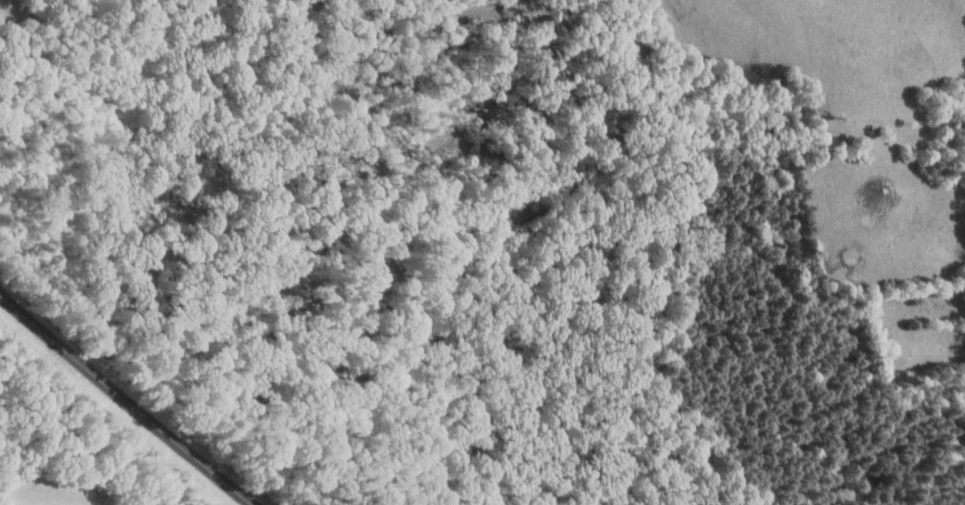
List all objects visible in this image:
road: (128, 400)

